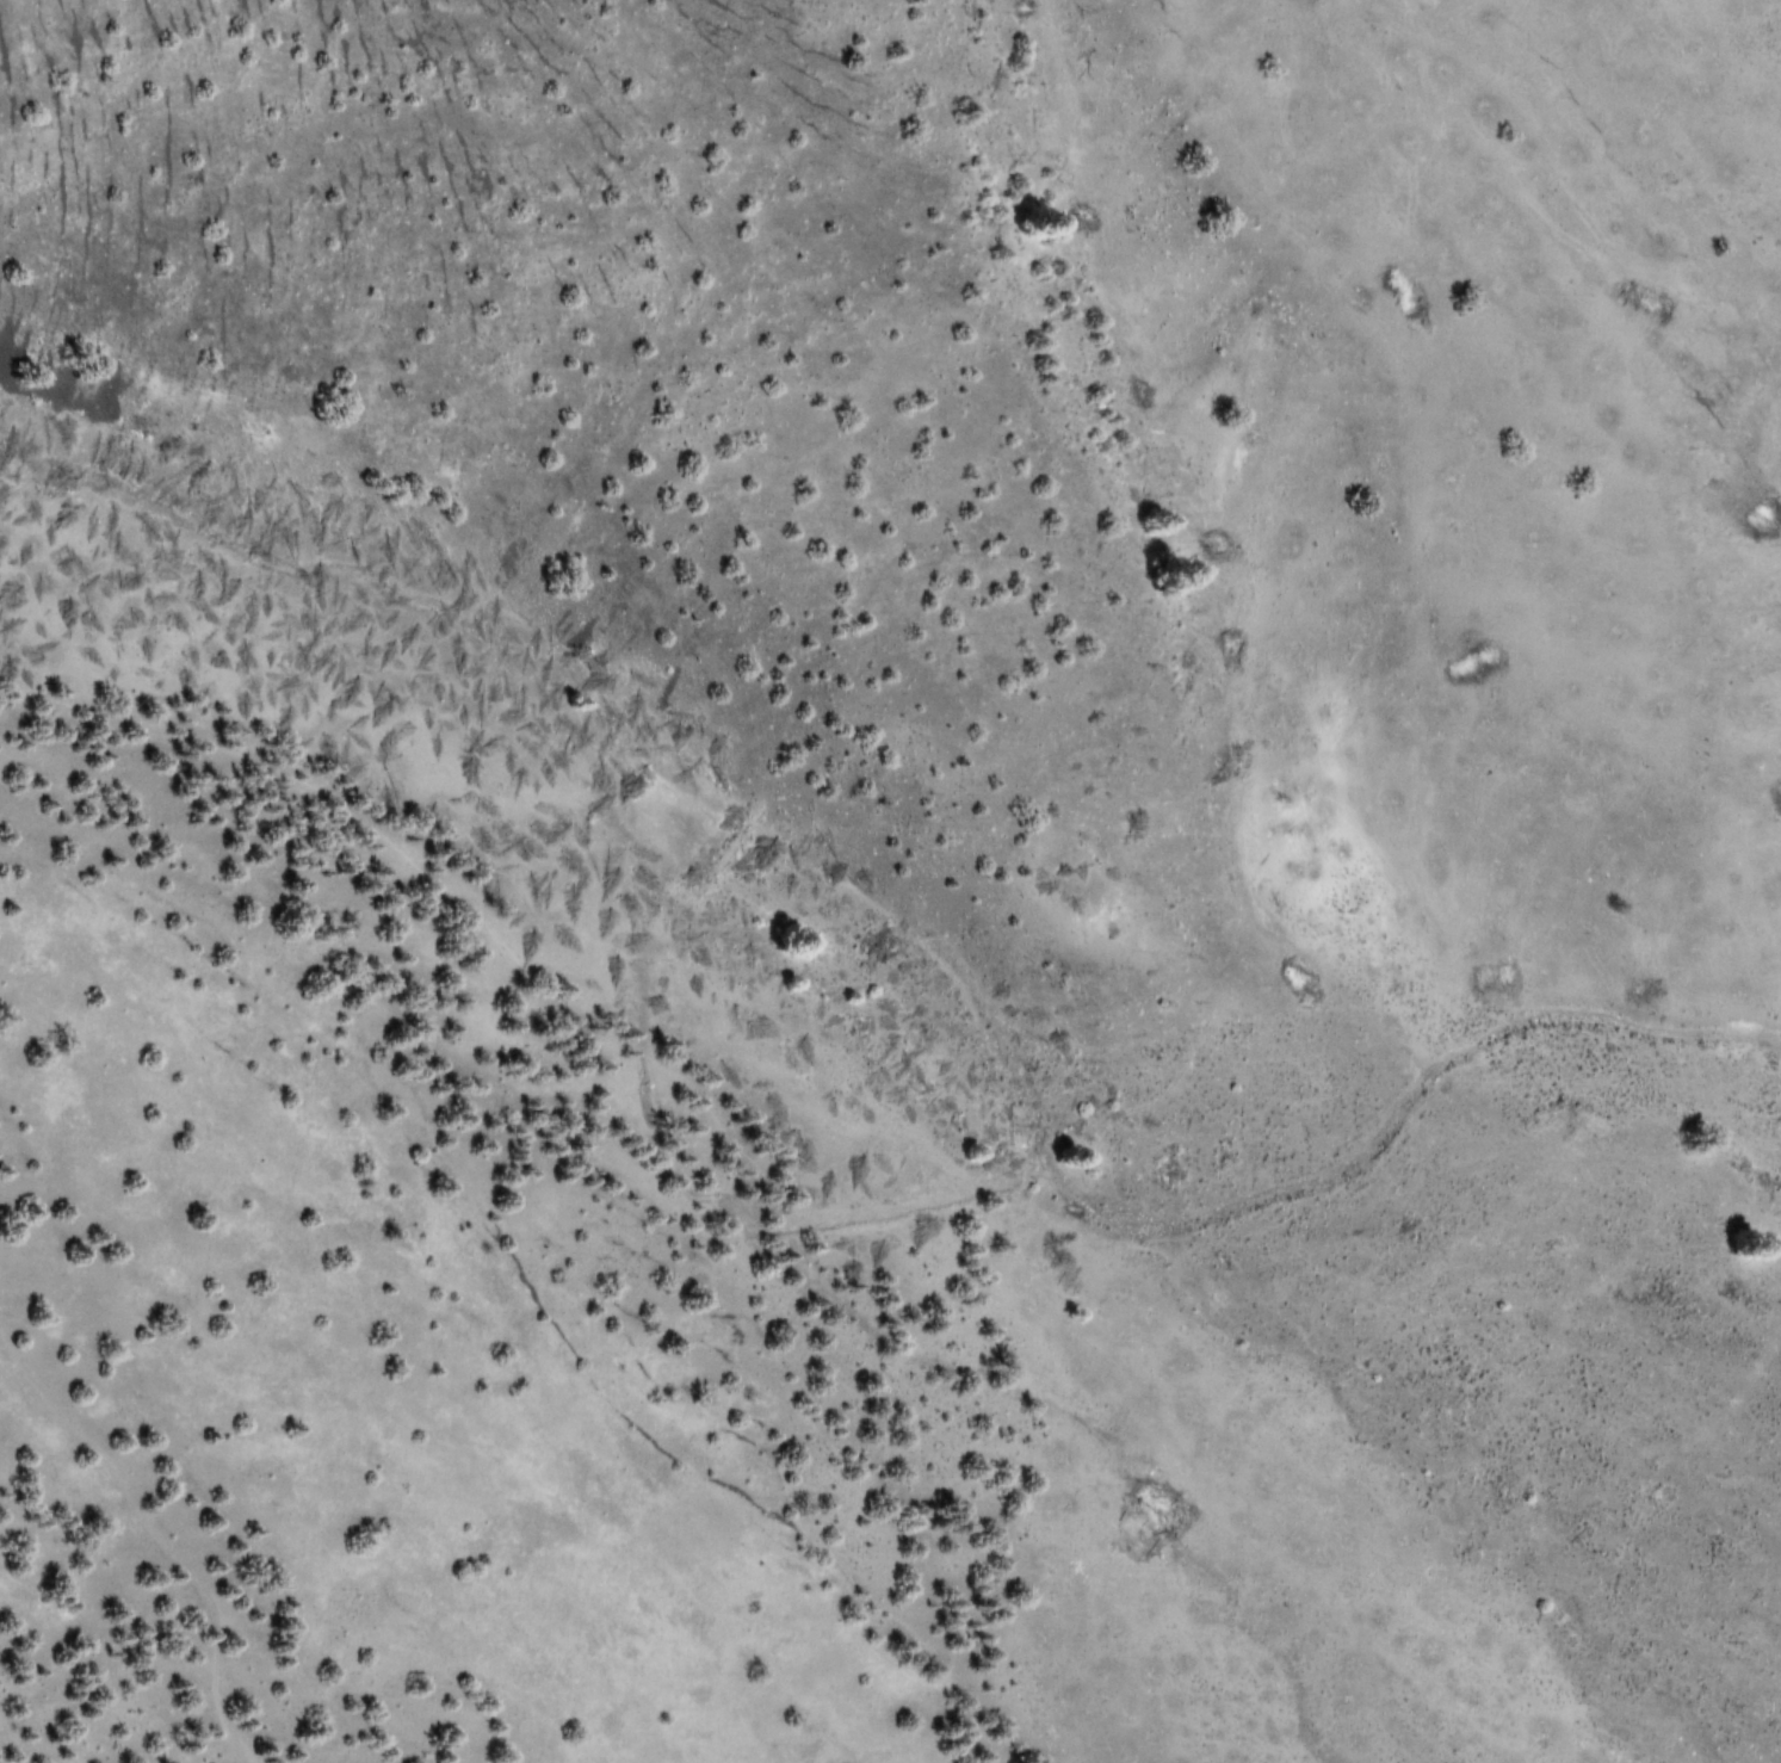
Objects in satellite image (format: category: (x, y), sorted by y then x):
road: (149, 1532)

